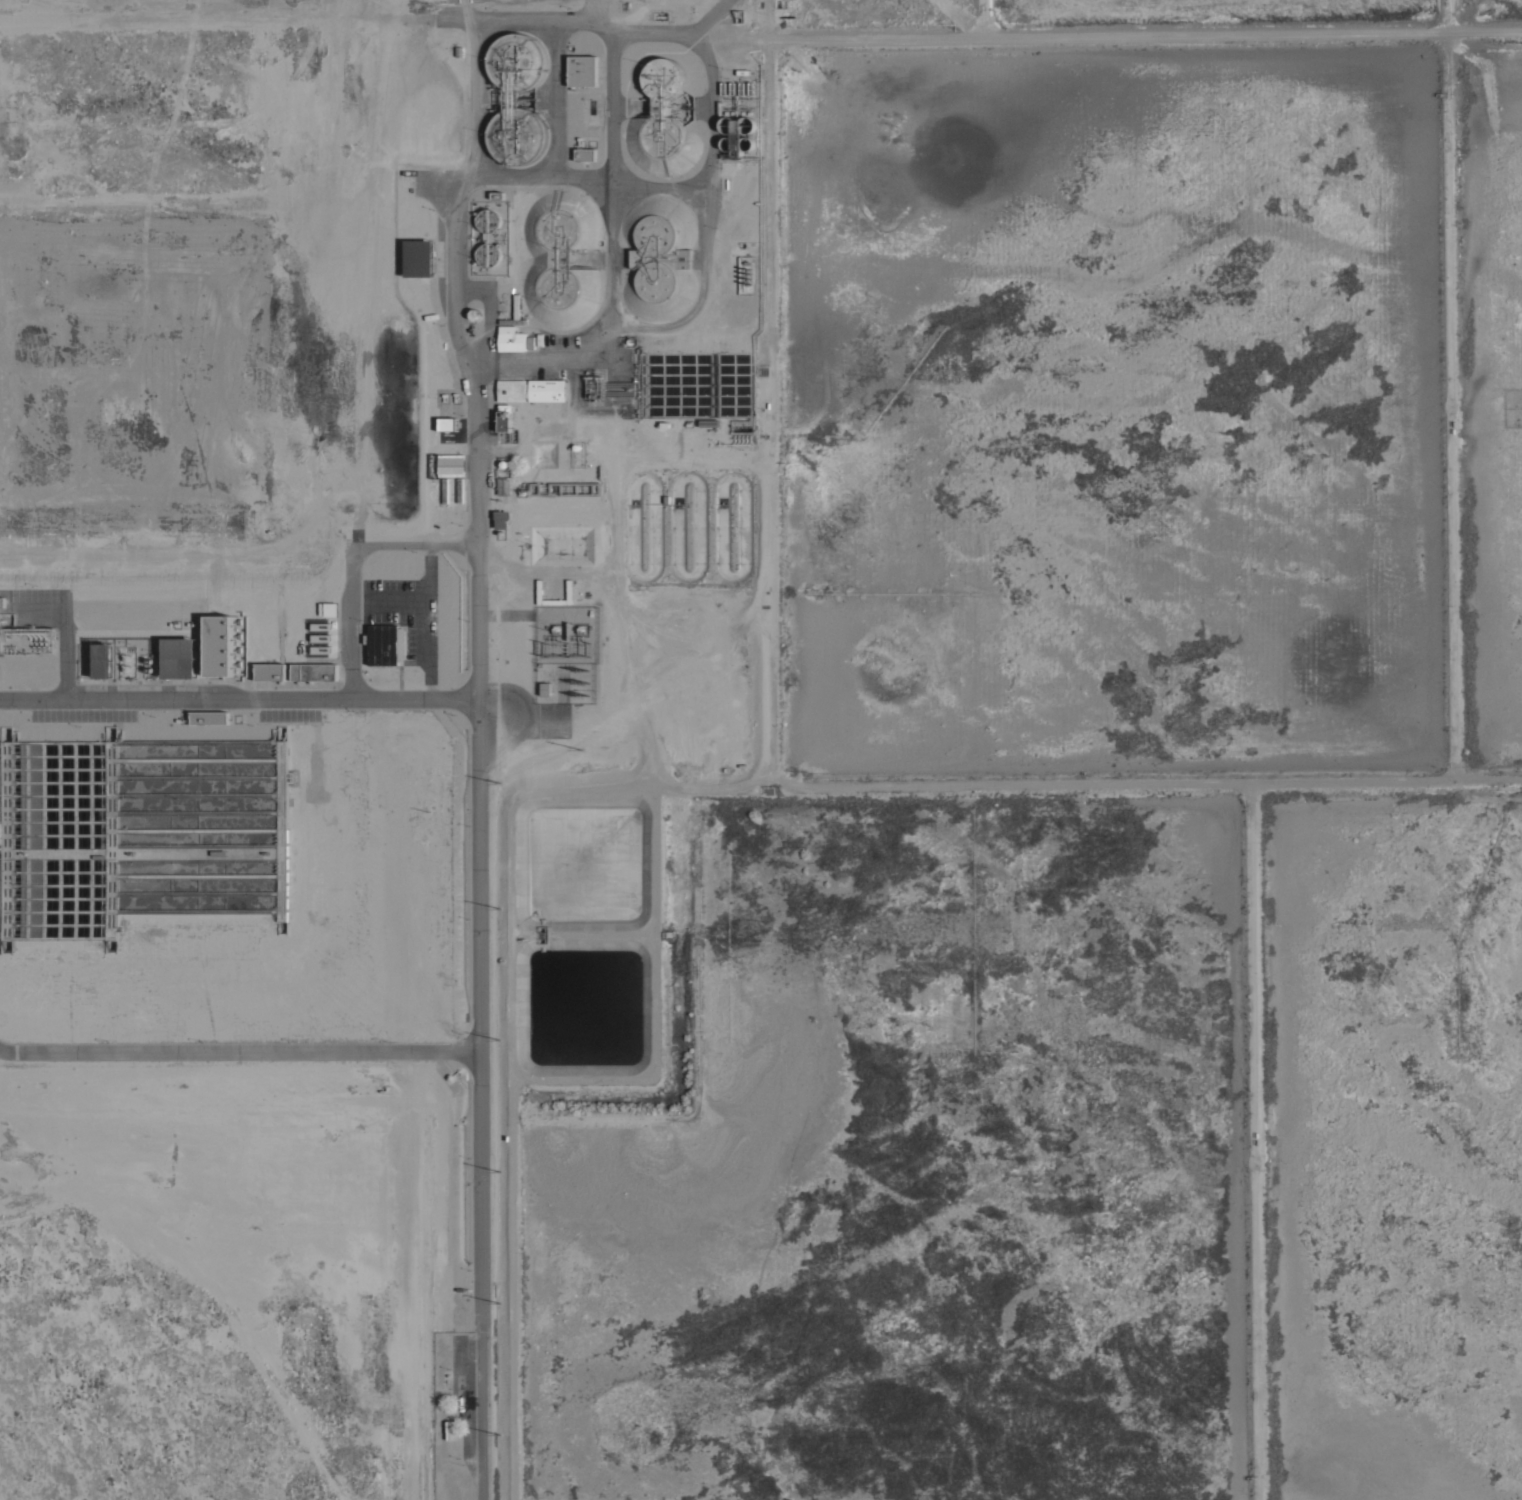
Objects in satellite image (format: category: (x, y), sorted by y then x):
building: (583, 71)
building: (663, 132)
building: (585, 154)
building: (419, 257)
building: (561, 258)
building: (658, 258)
building: (514, 313)
building: (512, 341)
building: (611, 387)
building: (531, 390)
wastewater plant: (1494, 407)
wastewater plant: (1095, 413)
building: (504, 417)
building: (448, 424)
building: (451, 464)
building: (503, 486)
building: (574, 488)
building: (501, 518)
road: (414, 544)
road: (394, 597)
parking lot: (37, 607)
building: (330, 609)
road: (37, 611)
parking lot: (400, 612)
road: (348, 613)
road: (423, 621)
building: (26, 639)
building: (380, 643)
building: (219, 645)
road: (61, 655)
building: (180, 657)
building: (103, 660)
building: (270, 671)
building: (314, 671)
building: (543, 690)
road: (240, 698)
road: (482, 698)
building: (209, 717)
wastewater plant: (761, 750)
road: (241, 1051)
wastewater plant: (1394, 1156)
wastewater plant: (901, 1181)
building: (452, 1429)

